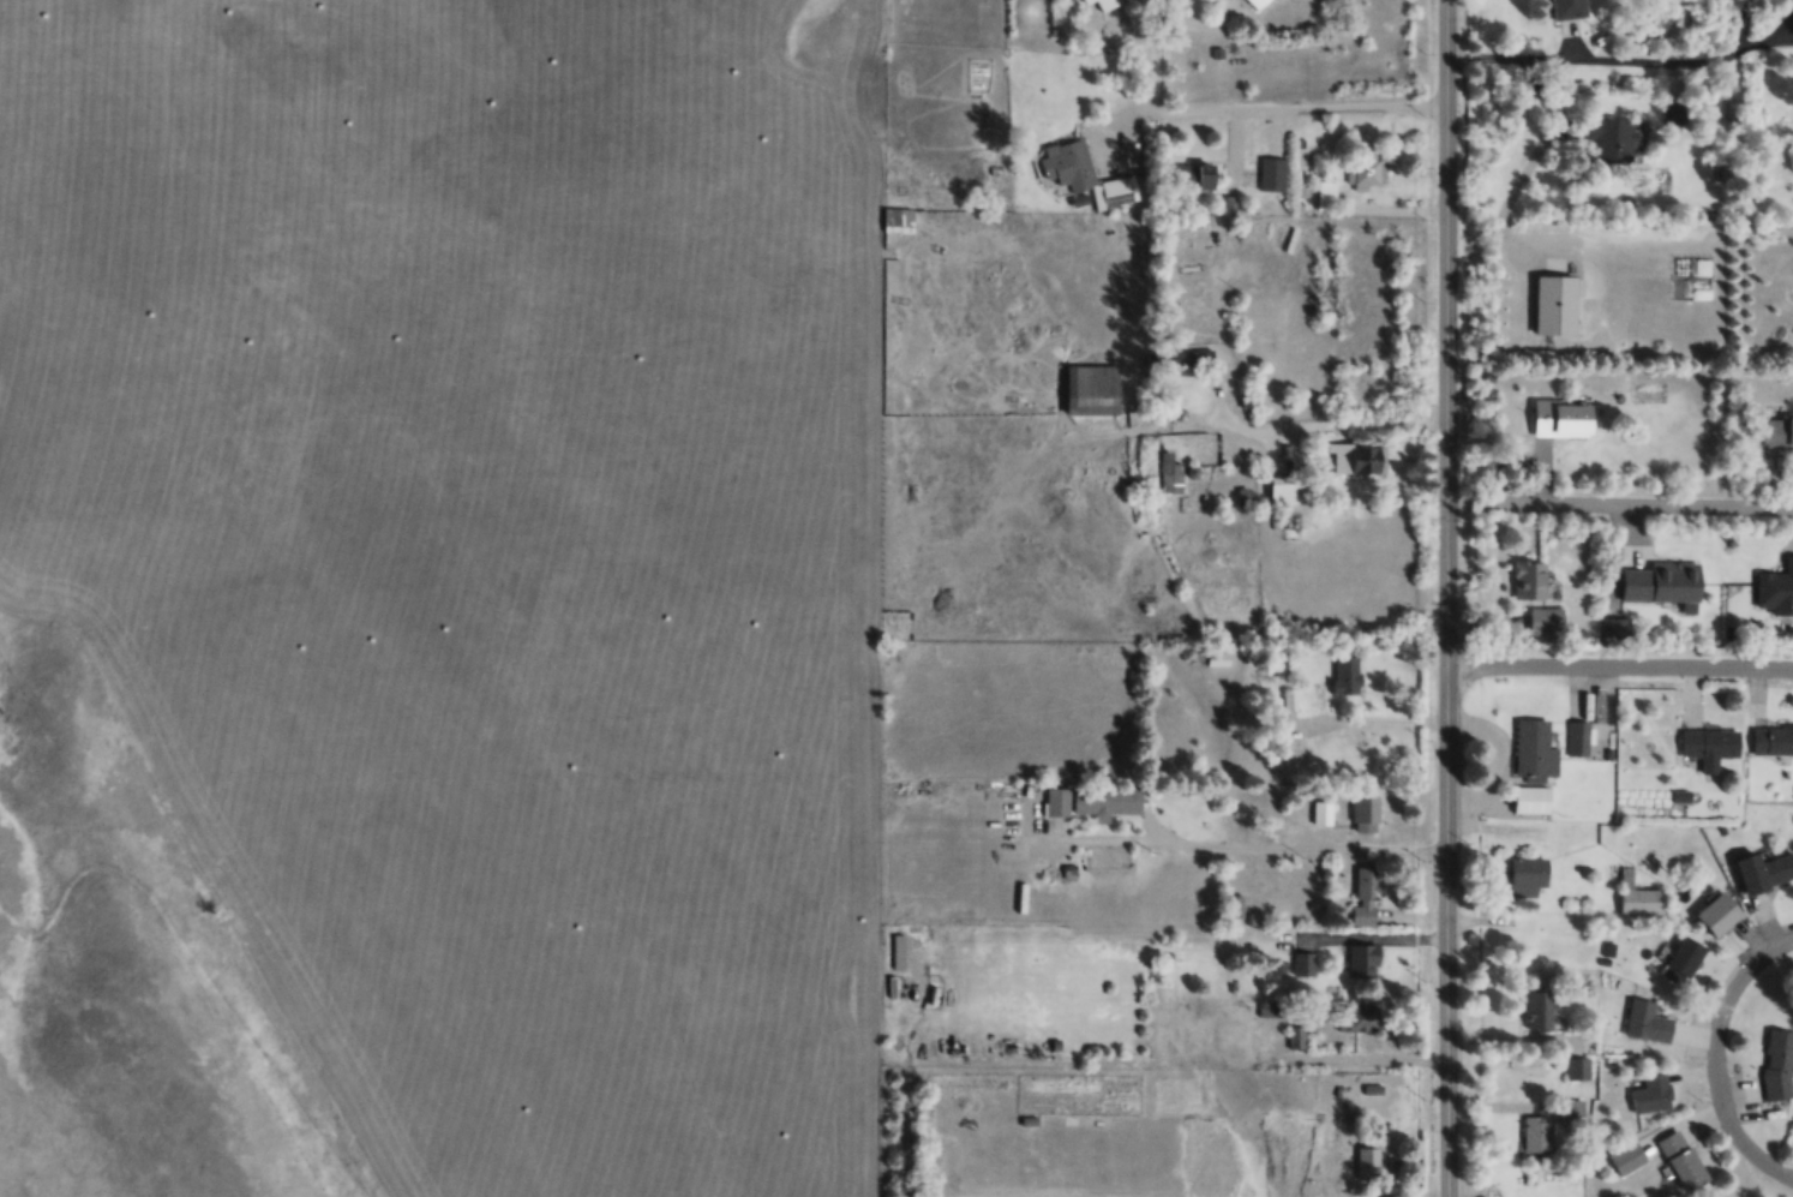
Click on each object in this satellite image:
building: (1104, 4)
building: (1258, 4)
building: (1569, 8)
road: (1276, 110)
building: (1729, 110)
building: (1678, 114)
building: (1609, 138)
building: (1366, 166)
building: (1271, 173)
building: (1086, 174)
building: (1210, 180)
building: (1326, 201)
building: (896, 220)
road: (1443, 336)
building: (1092, 388)
building: (1564, 417)
building: (1779, 430)
building: (1355, 456)
building: (1169, 473)
building: (1288, 490)
road: (1617, 509)
building: (1530, 579)
building: (1546, 620)
road: (1617, 672)
building: (1347, 674)
building: (1577, 737)
building: (1771, 740)
building: (1710, 746)
building: (1533, 766)
building: (1107, 800)
building: (1059, 801)
building: (1366, 806)
road: (1441, 809)
building: (1767, 870)
building: (1529, 876)
building: (1367, 894)
building: (1641, 896)
building: (1721, 914)
building: (1361, 959)
building: (1685, 960)
building: (1302, 963)
building: (1539, 1010)
building: (1359, 1018)
building: (1648, 1022)
road: (1716, 1059)
building: (1779, 1064)
road: (1440, 1071)
building: (1653, 1095)
building: (1572, 1113)
building: (1536, 1133)
building: (1209, 1148)
building: (1277, 1150)
building: (1627, 1157)
building: (1684, 1161)
building: (1367, 1163)

